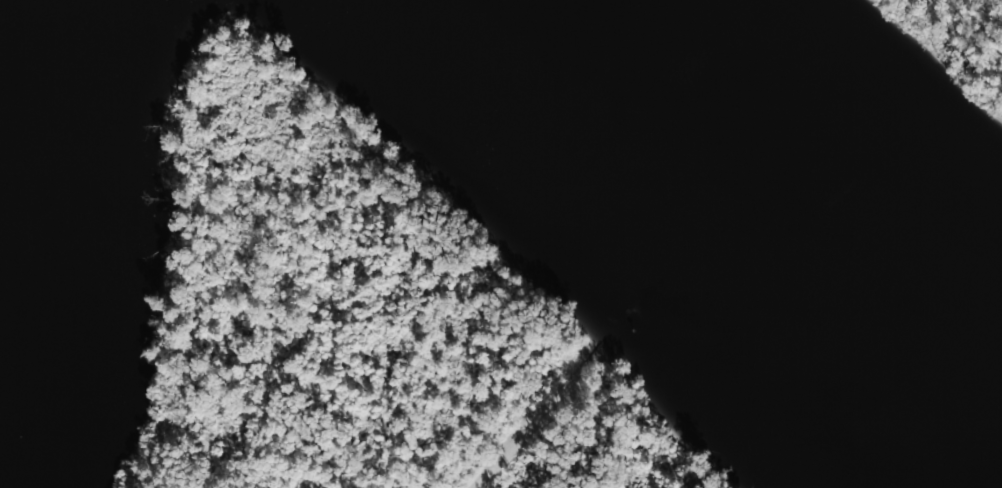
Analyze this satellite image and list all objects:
river: (800, 169)

